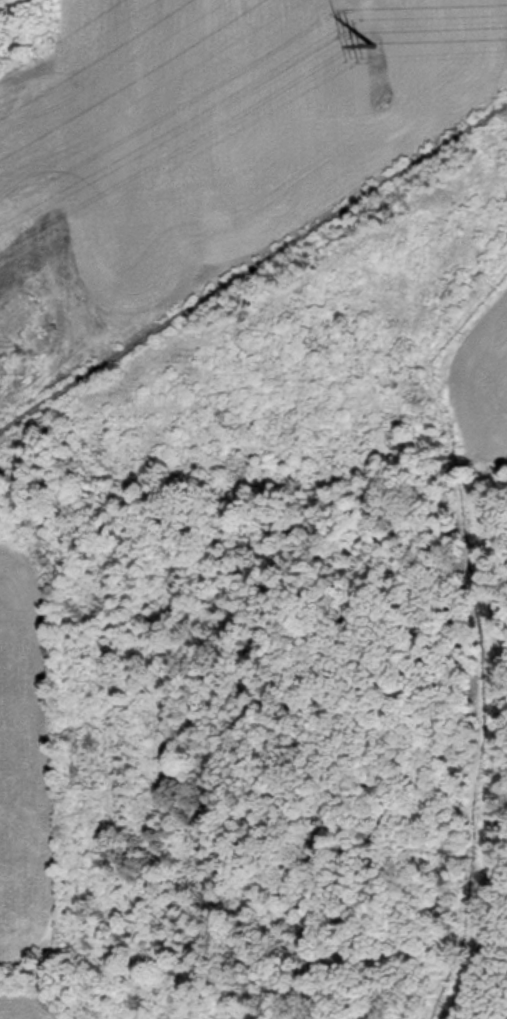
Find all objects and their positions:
power tower: (374, 46)
railway: (253, 260)

